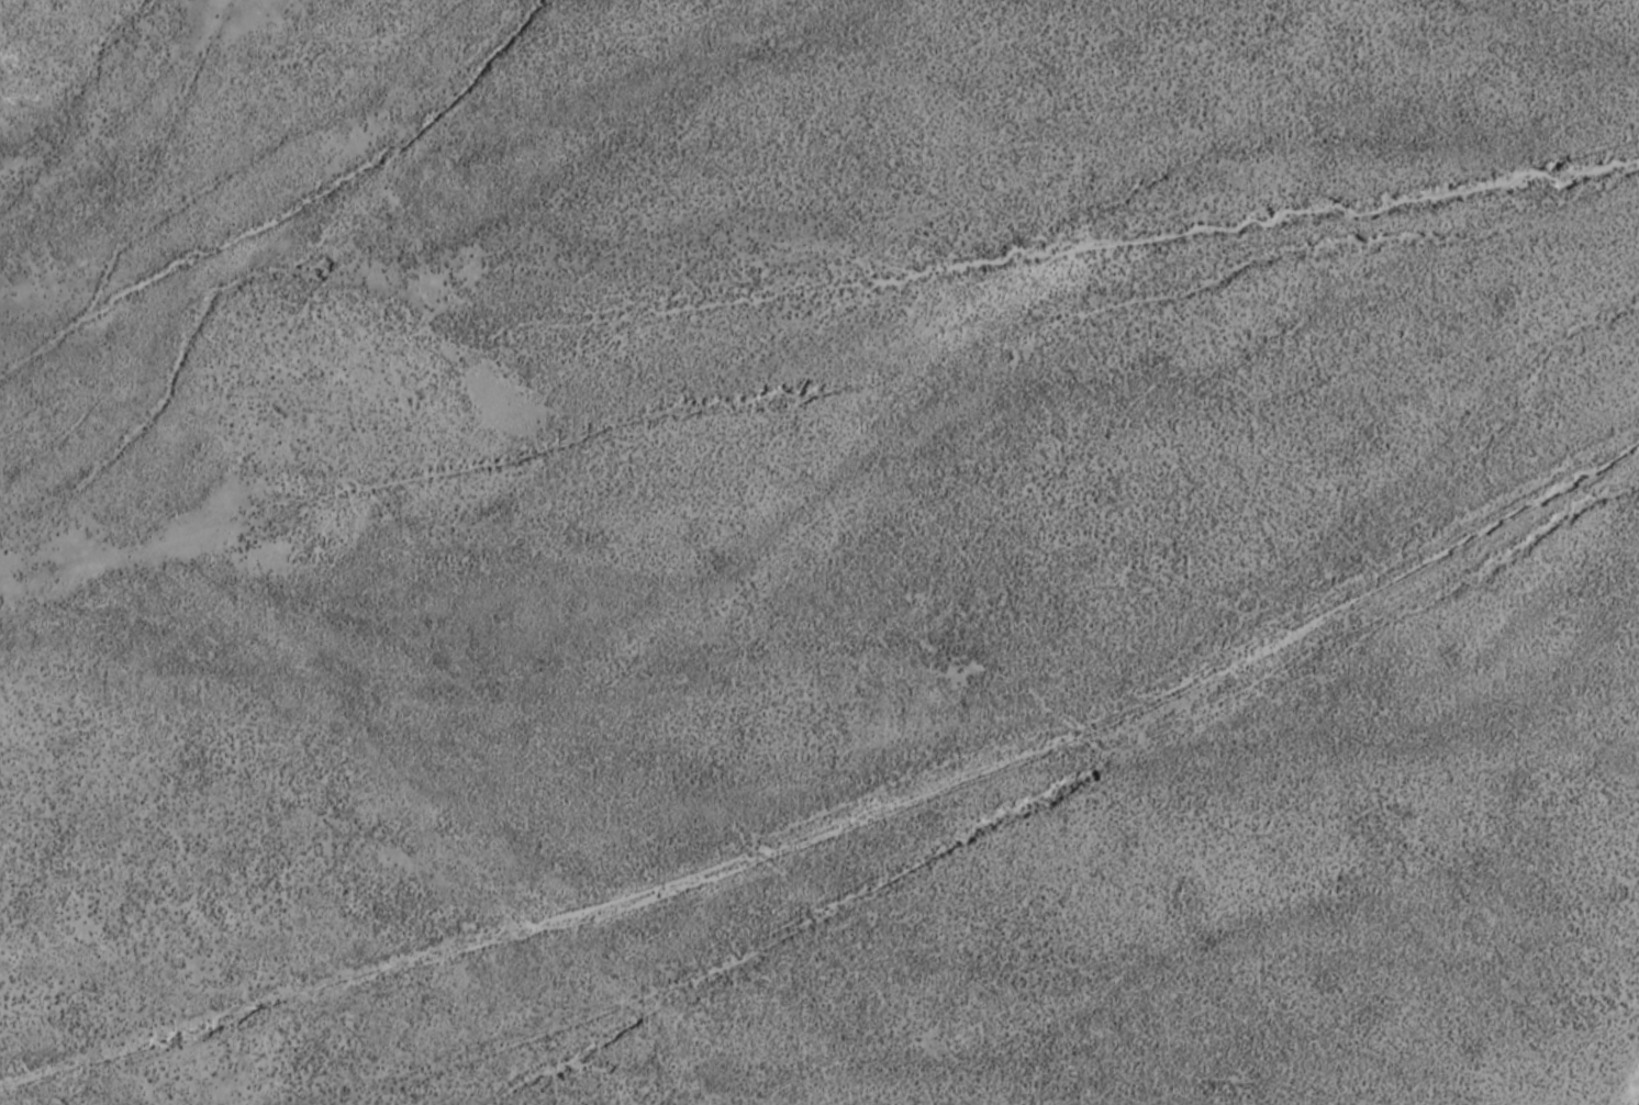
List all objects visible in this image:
road: (893, 802)

